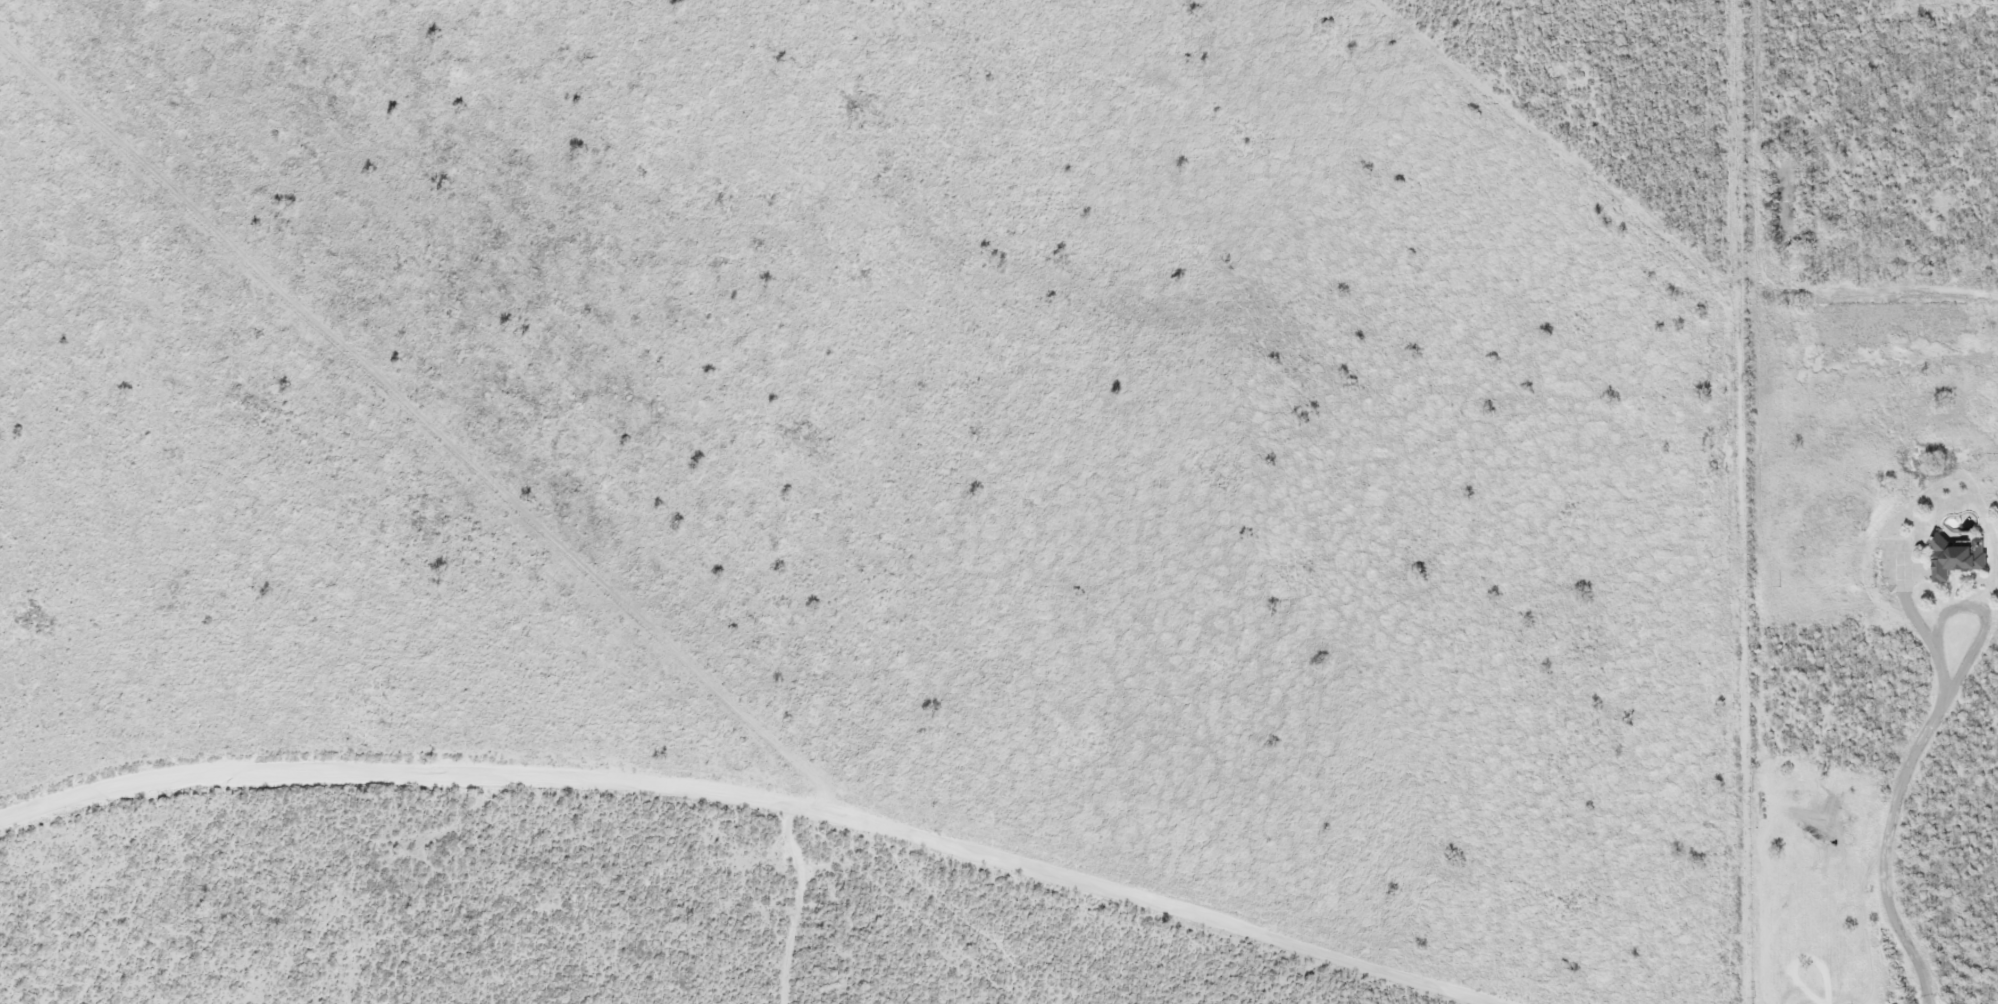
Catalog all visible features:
building: (1956, 557)
road: (760, 799)
road: (796, 903)

